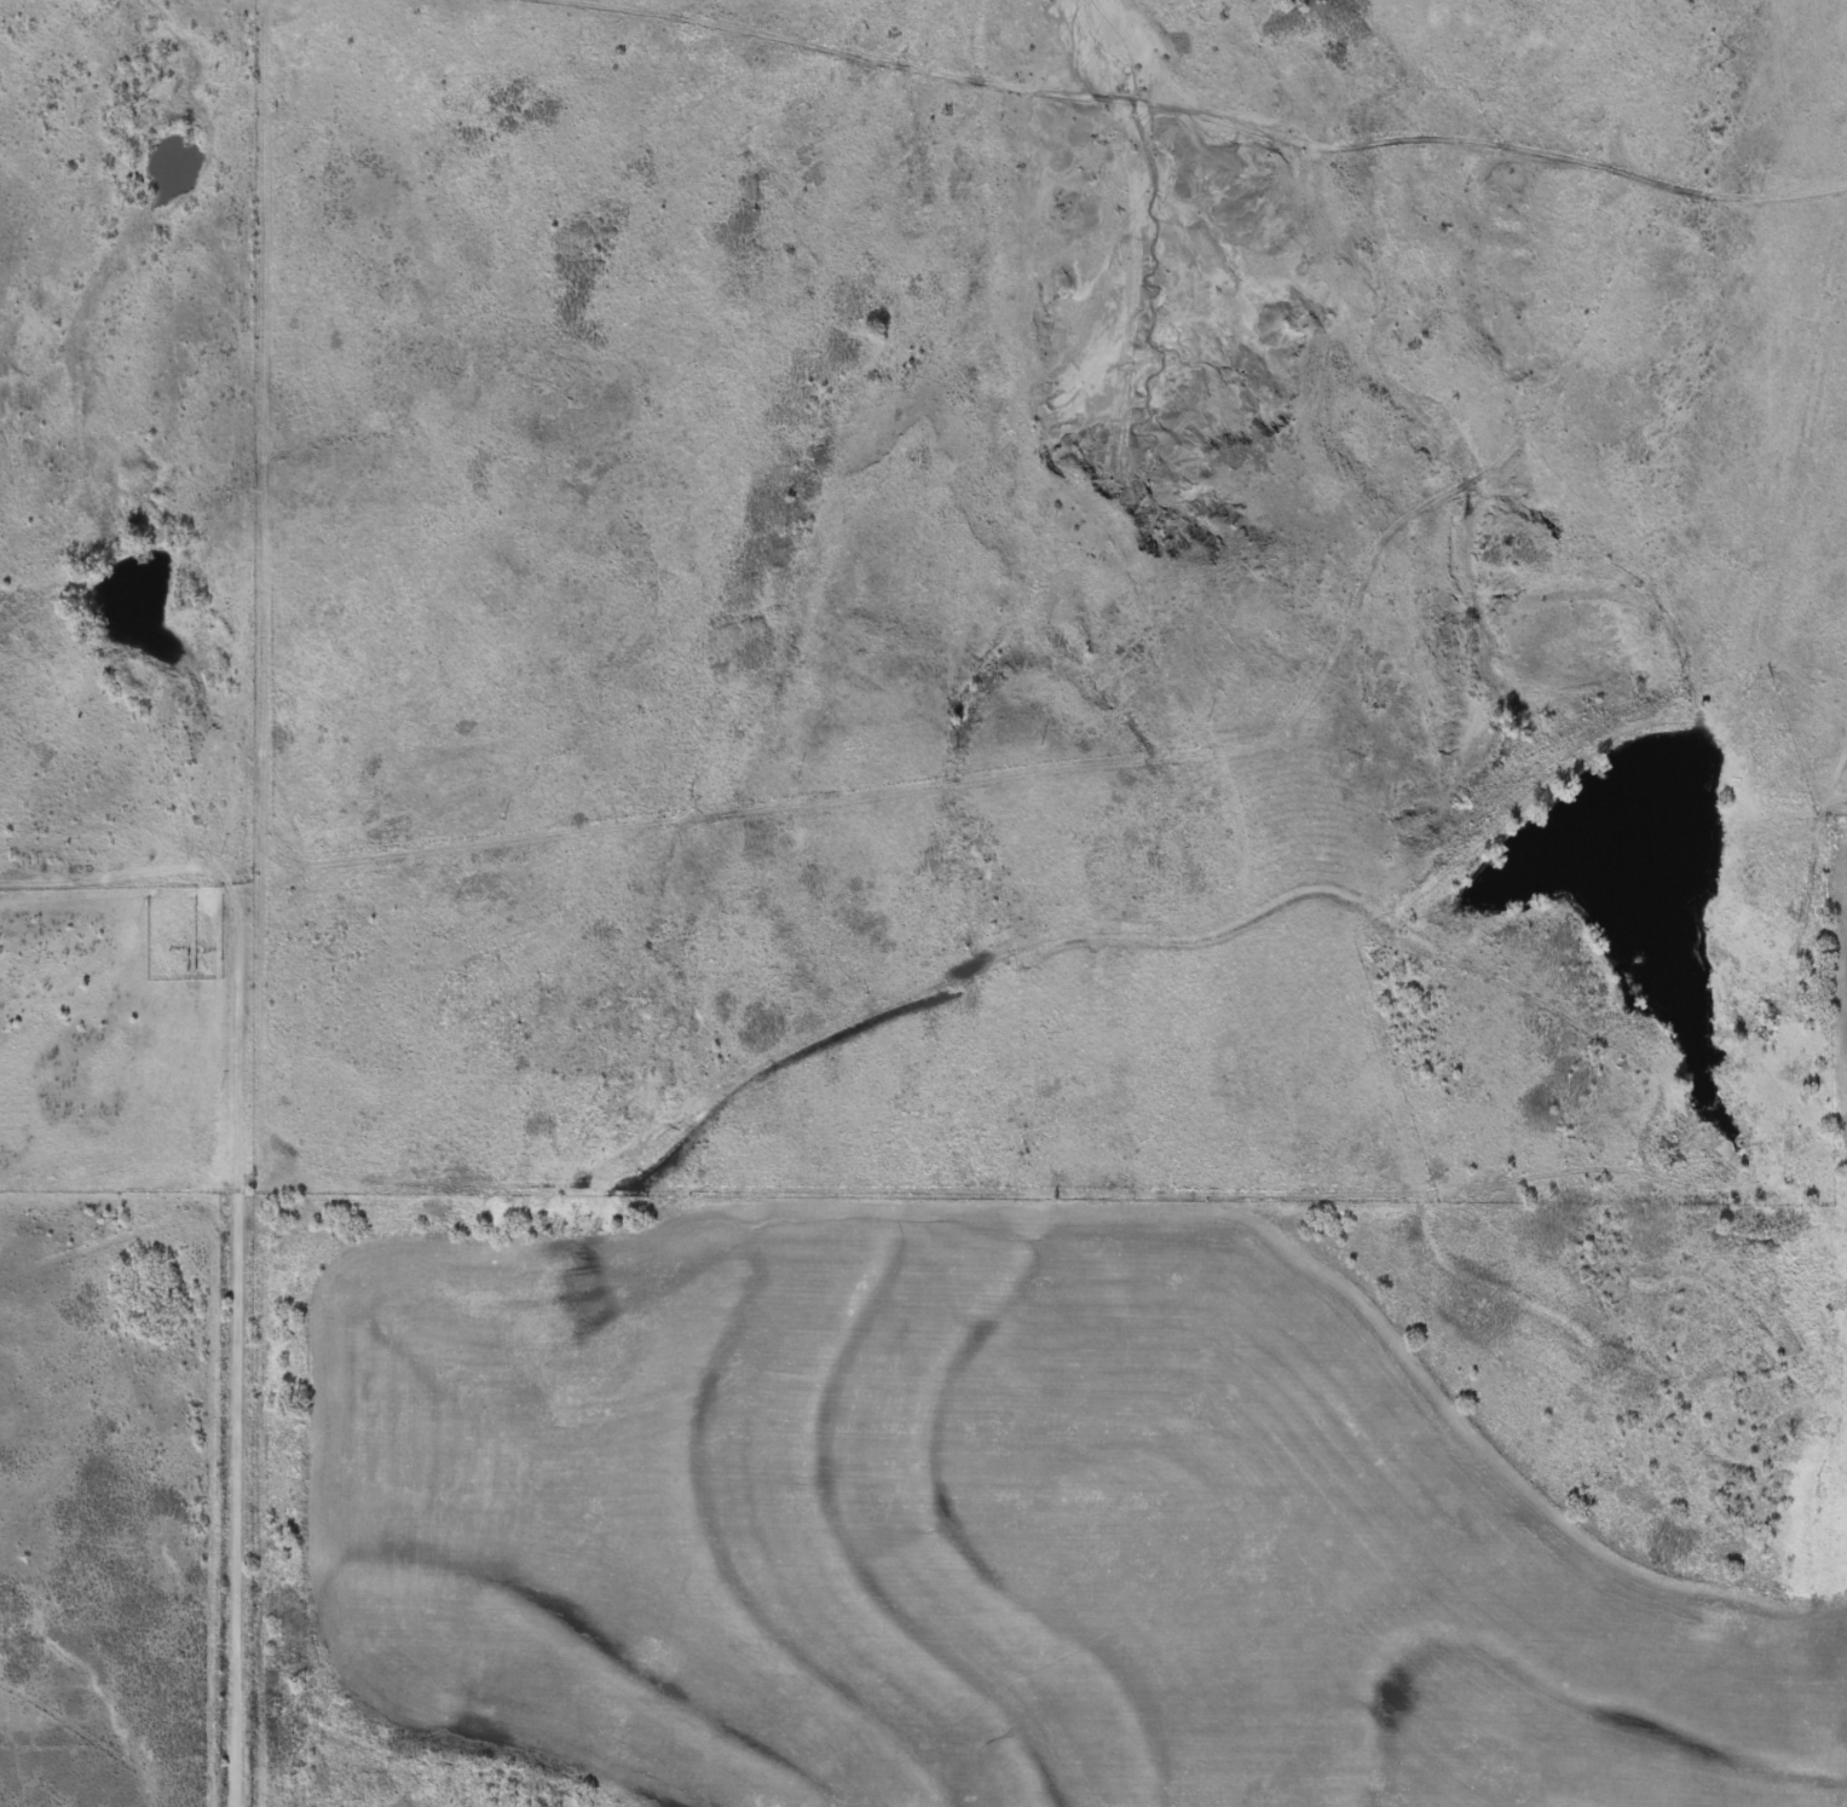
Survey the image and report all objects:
road: (229, 930)
road: (68, 1187)
road: (187, 1207)
road: (239, 1503)

